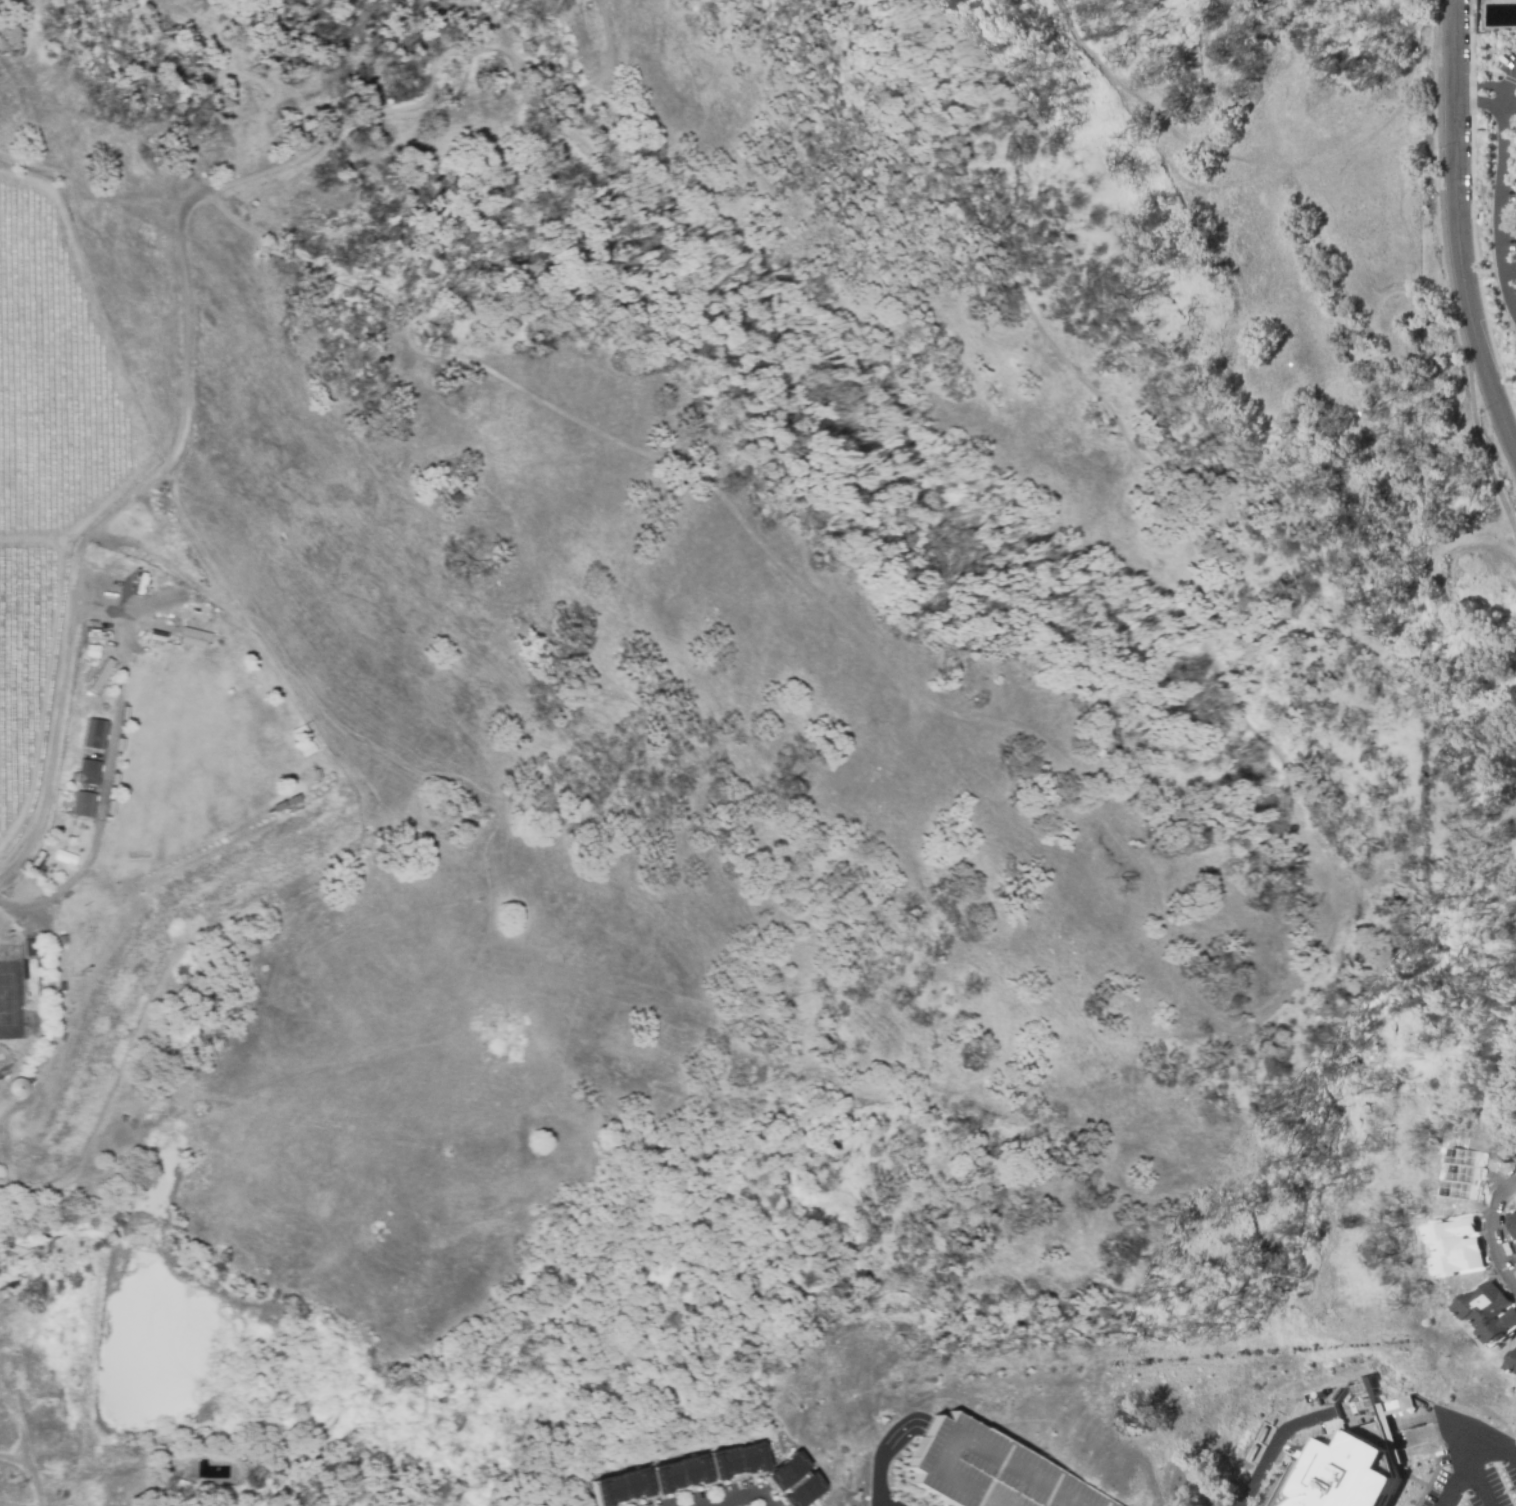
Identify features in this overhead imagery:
road: (1489, 91)
road: (1501, 99)
road: (1500, 202)
road: (1465, 222)
road: (1510, 268)
road: (188, 399)
building: (98, 672)
building: (92, 729)
road: (56, 730)
building: (85, 766)
building: (80, 799)
building: (31, 978)
building: (16, 1085)
building: (1466, 1173)
building: (1515, 1215)
building: (1513, 1225)
road: (1491, 1231)
building: (1461, 1245)
building: (1491, 1313)
building: (1514, 1368)
road: (1424, 1413)
road: (964, 1439)
road: (1271, 1443)
road: (804, 1454)
road: (884, 1454)
road: (1474, 1455)
road: (659, 1457)
road: (1462, 1458)
building: (736, 1460)
parking lot: (1470, 1461)
road: (5, 1463)
building: (991, 1467)
parking garage: (991, 1467)
building: (1342, 1470)
building: (249, 1473)
building: (679, 1473)
building: (181, 1476)
building: (791, 1482)
road: (708, 1484)
building: (618, 1488)
road: (741, 1497)
road: (882, 1503)

